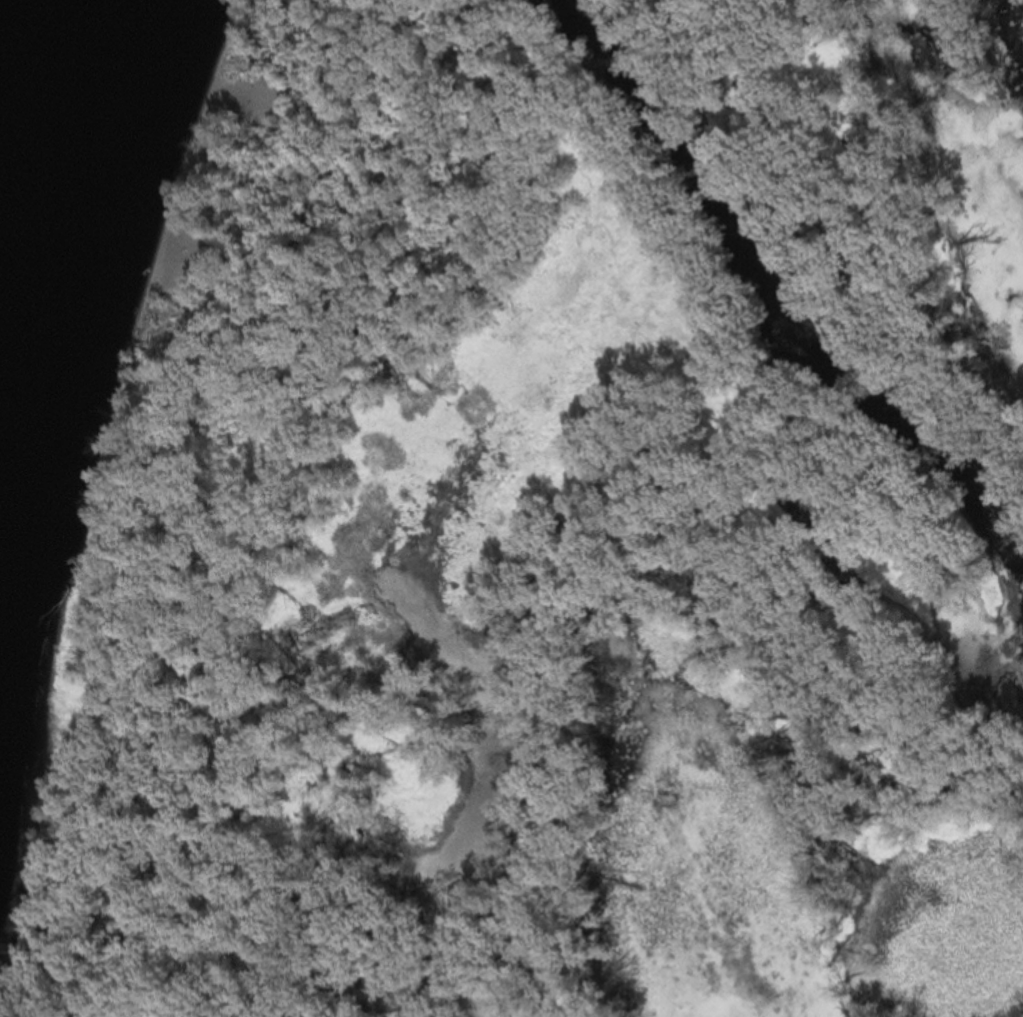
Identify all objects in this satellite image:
building: (145, 194)

